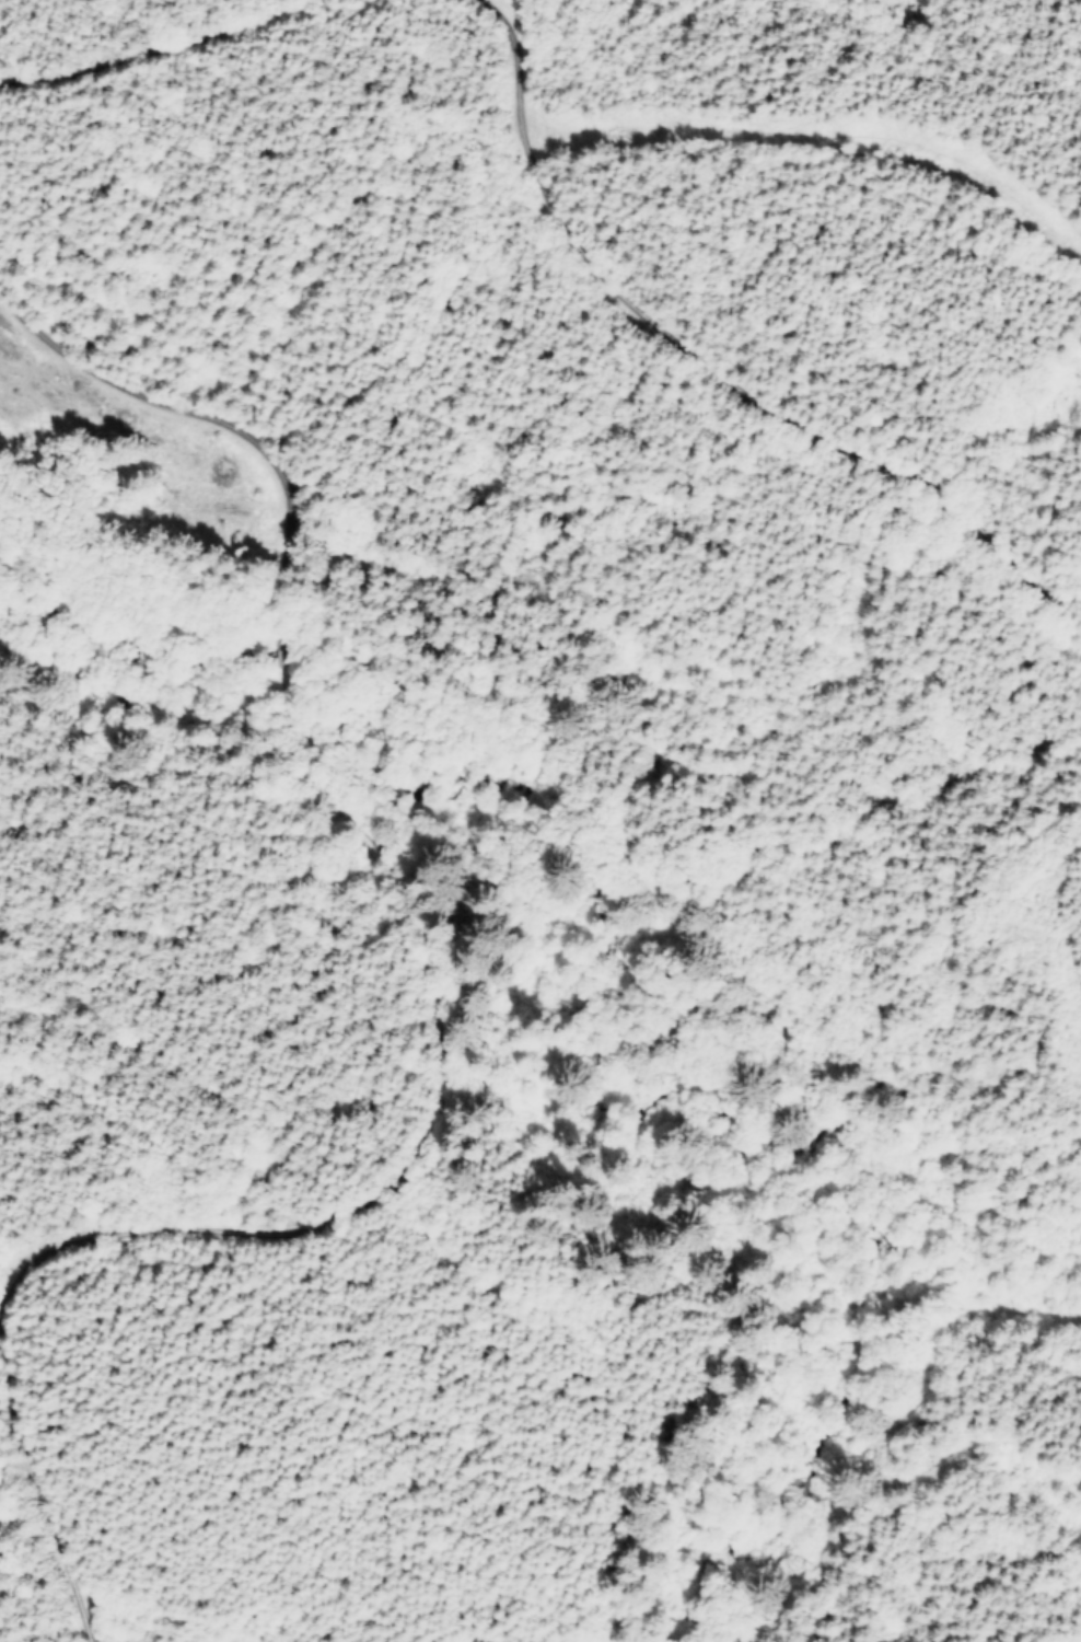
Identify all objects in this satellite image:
road: (560, 263)
road: (370, 1084)

